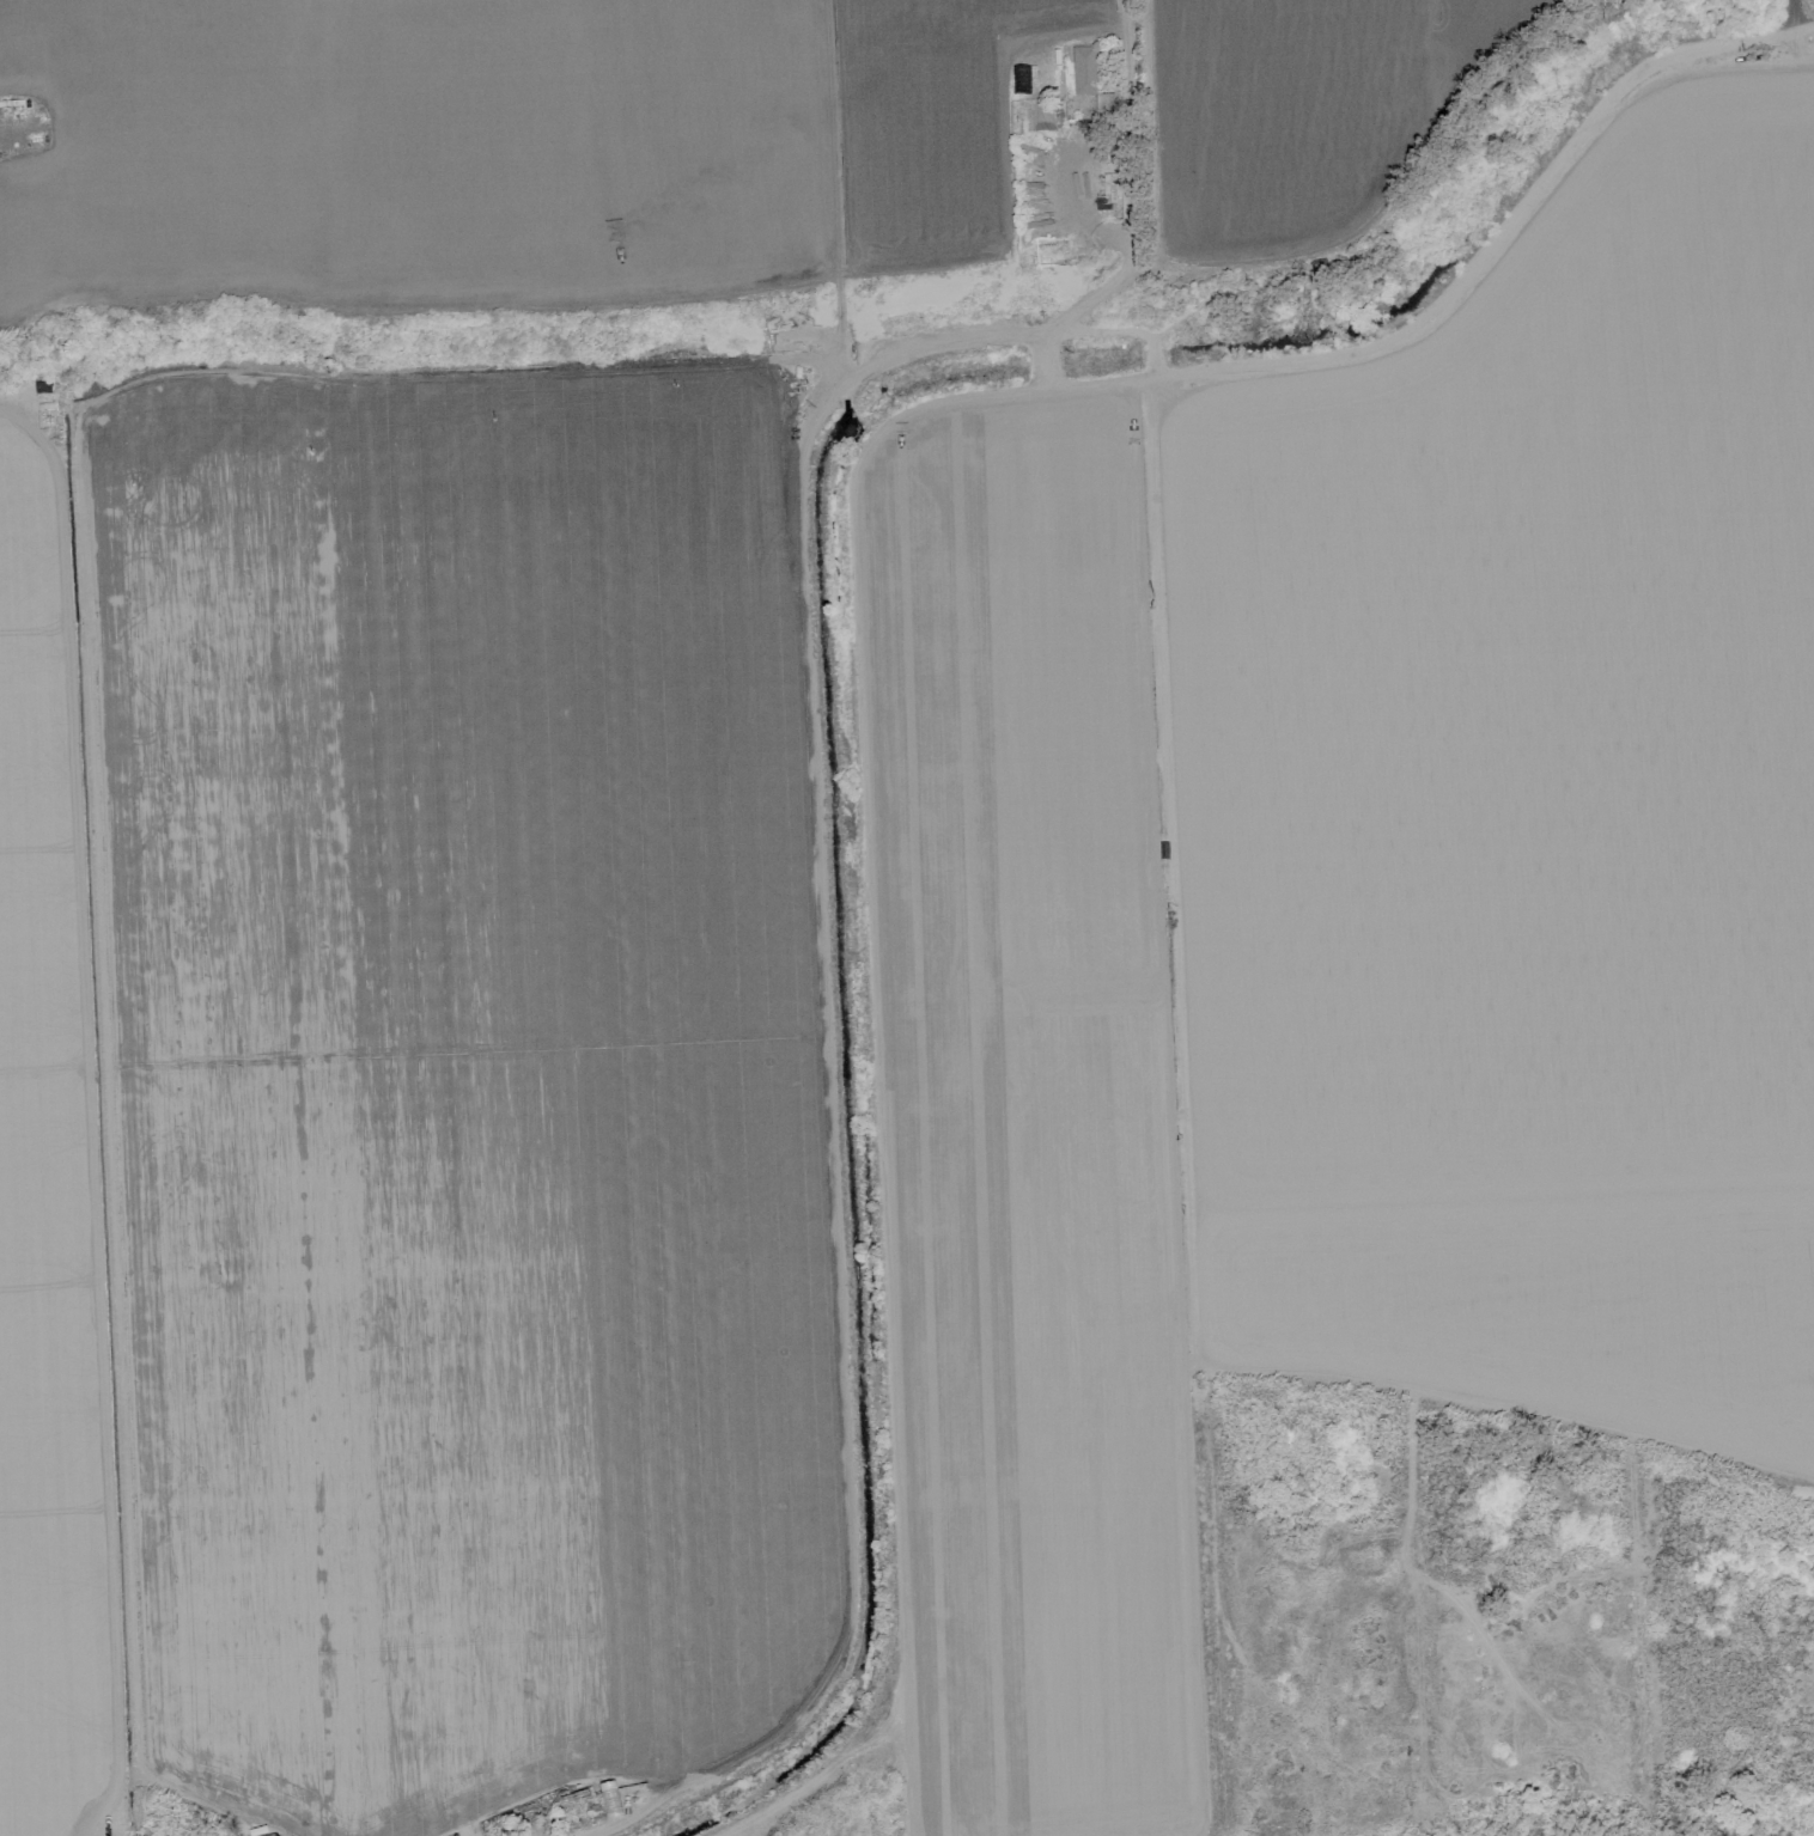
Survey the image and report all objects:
road: (1120, 14)
road: (1792, 17)
building: (1084, 69)
road: (1432, 325)
crop: (889, 897)

